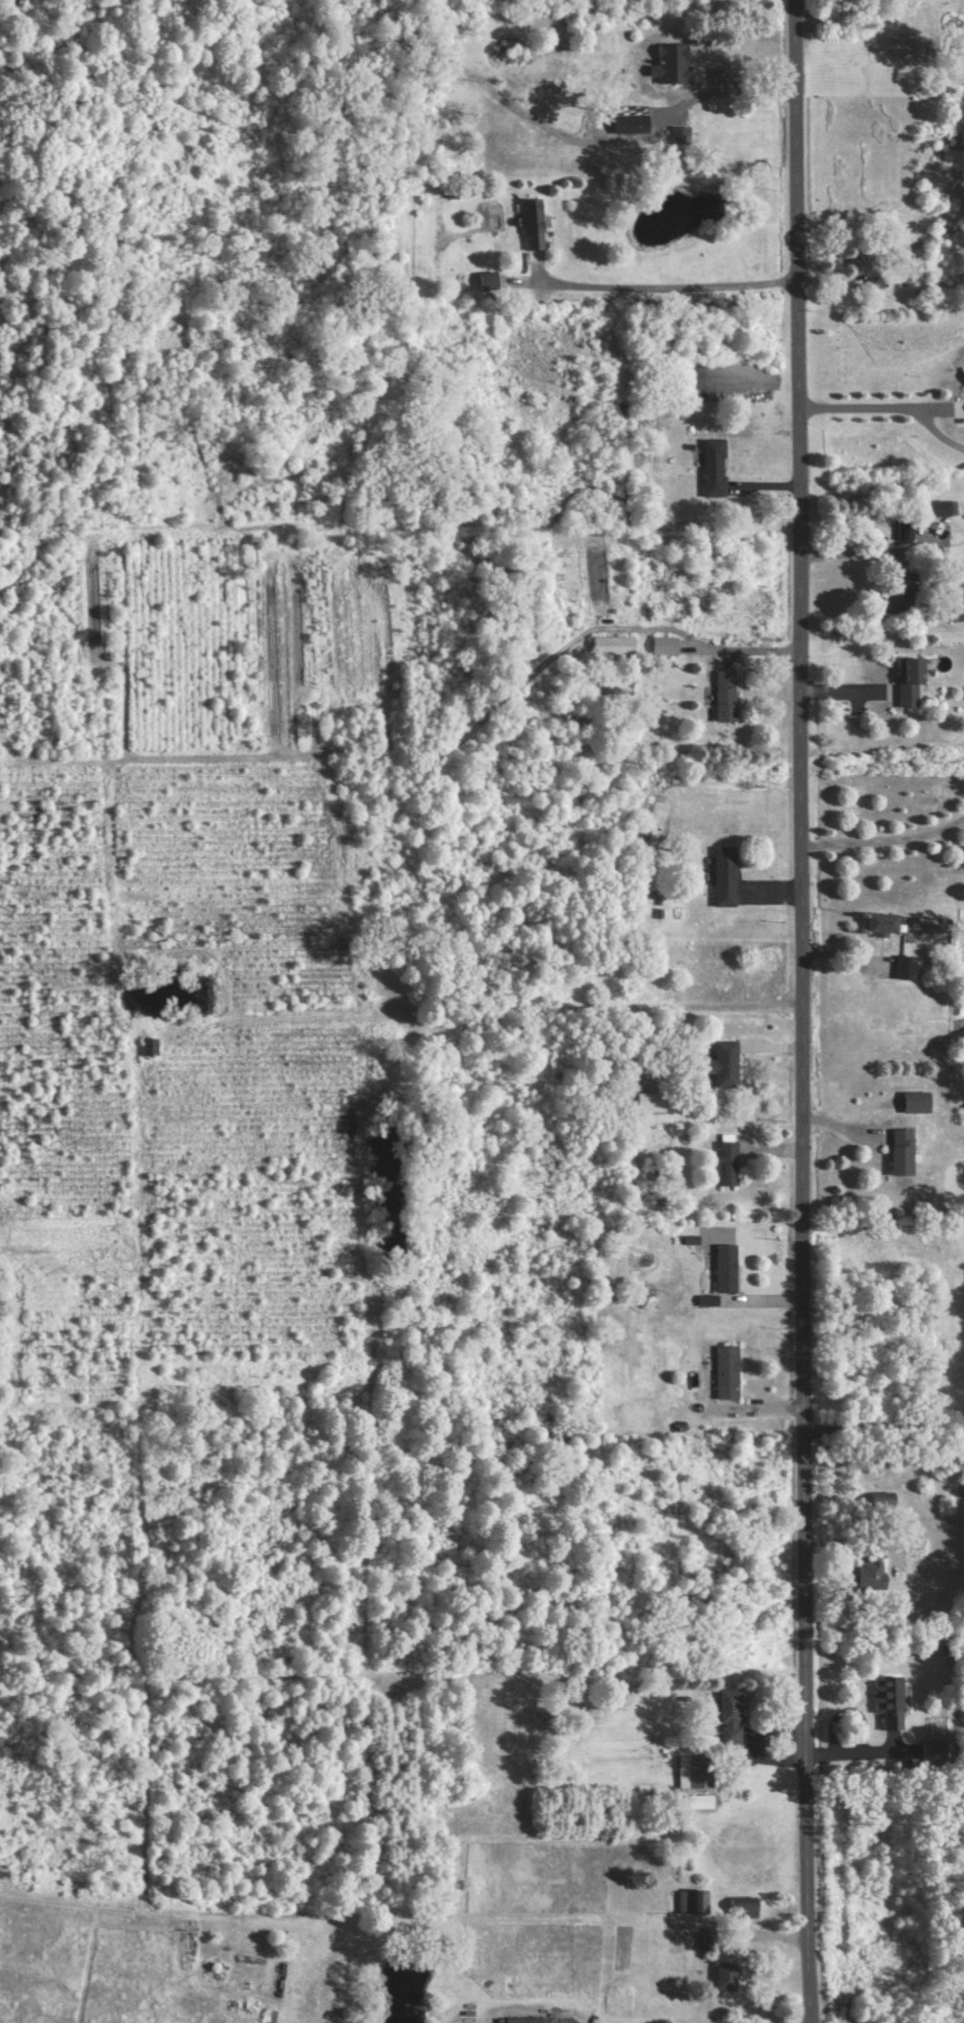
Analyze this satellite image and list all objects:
building: (711, 65)
road: (735, 85)
building: (633, 122)
building: (682, 133)
building: (536, 223)
building: (858, 258)
building: (490, 280)
road: (667, 285)
road: (873, 405)
building: (716, 467)
building: (939, 509)
building: (907, 533)
road: (856, 550)
building: (904, 592)
building: (616, 645)
building: (667, 645)
building: (913, 680)
building: (729, 696)
road: (887, 838)
building: (728, 875)
building: (886, 920)
building: (909, 965)
road: (807, 1011)
building: (151, 1044)
building: (725, 1062)
building: (918, 1100)
building: (652, 1101)
building: (904, 1151)
building: (728, 1162)
building: (729, 1267)
building: (730, 1371)
road: (886, 1440)
building: (870, 1572)
building: (892, 1700)
road: (858, 1712)
building: (732, 1716)
road: (847, 1721)
road: (861, 1762)
building: (697, 1770)
building: (695, 1900)
building: (745, 1907)
building: (707, 1939)
building: (727, 1975)
building: (528, 2019)

